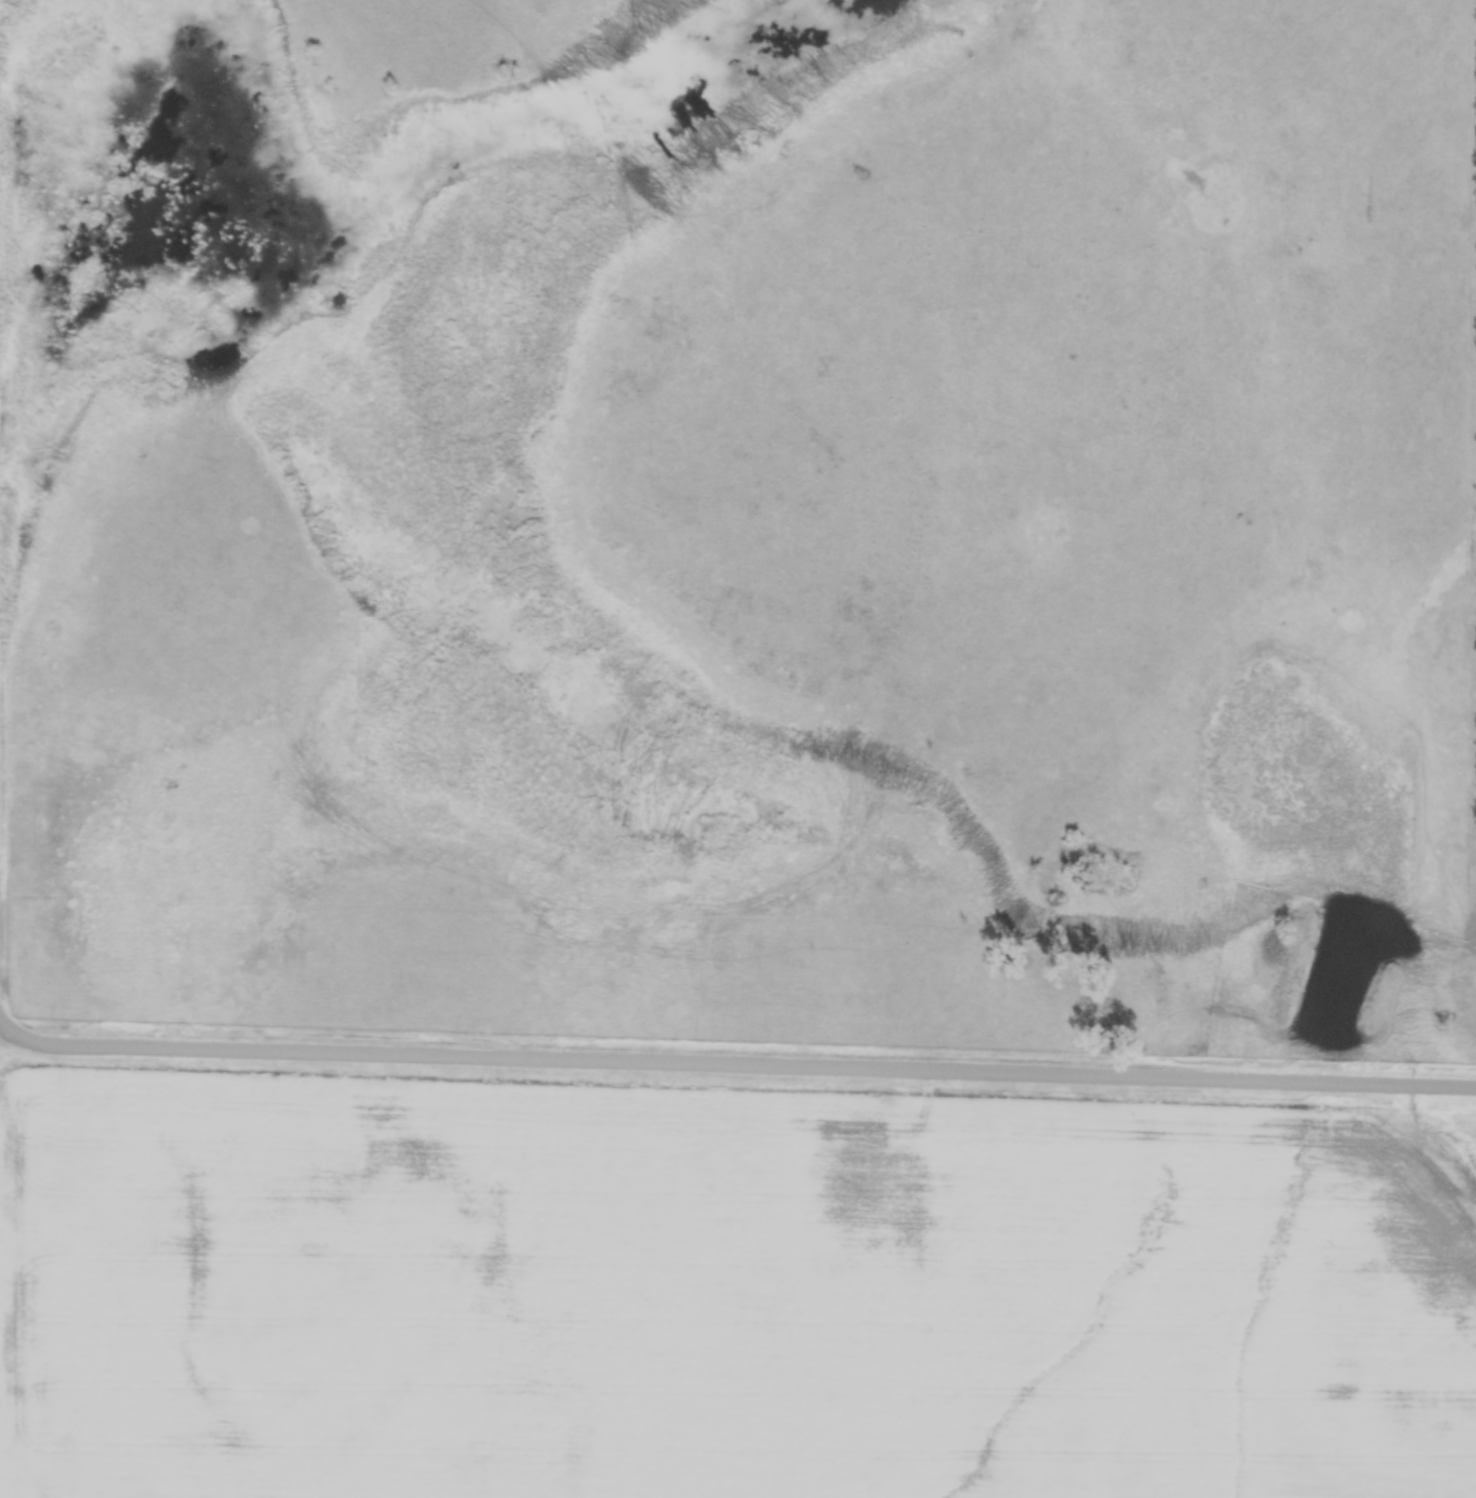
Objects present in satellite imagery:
road: (738, 1062)

